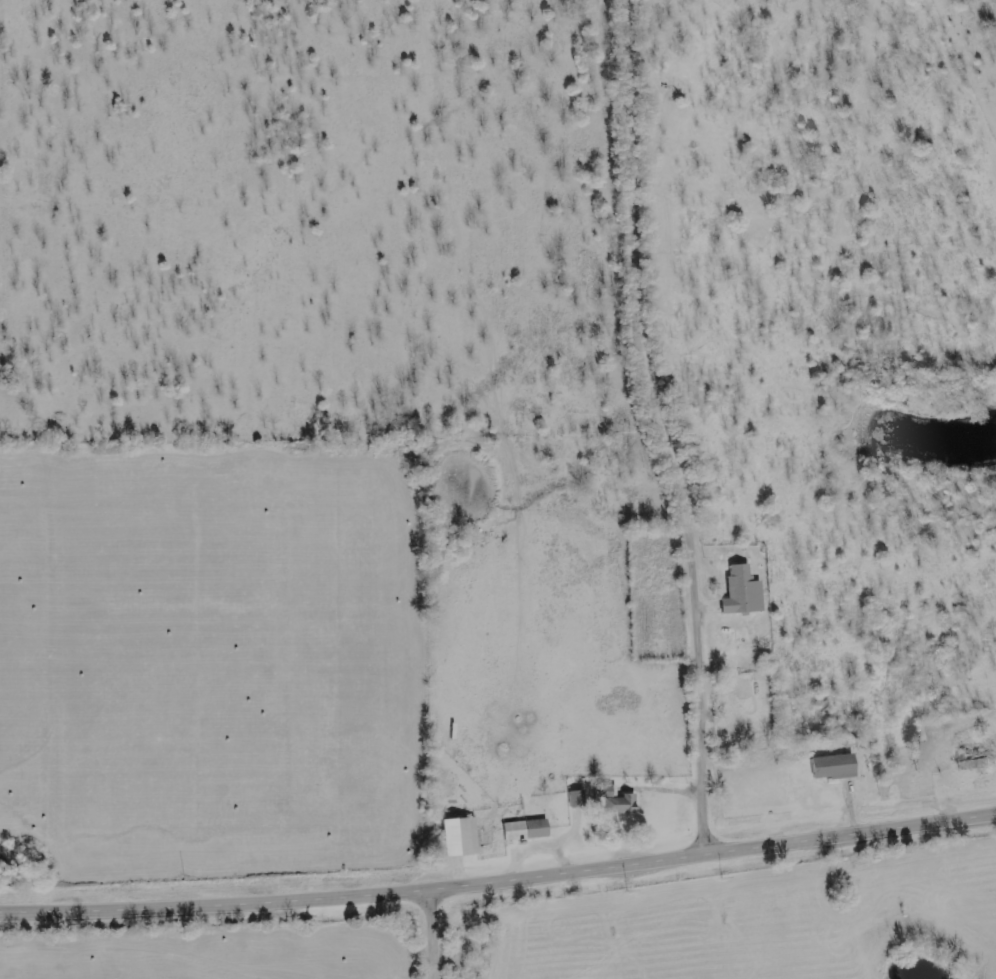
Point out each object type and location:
road: (665, 429)
building: (744, 591)
building: (835, 766)
building: (579, 799)
building: (616, 801)
building: (527, 829)
building: (462, 837)
road: (499, 884)
road: (431, 936)

